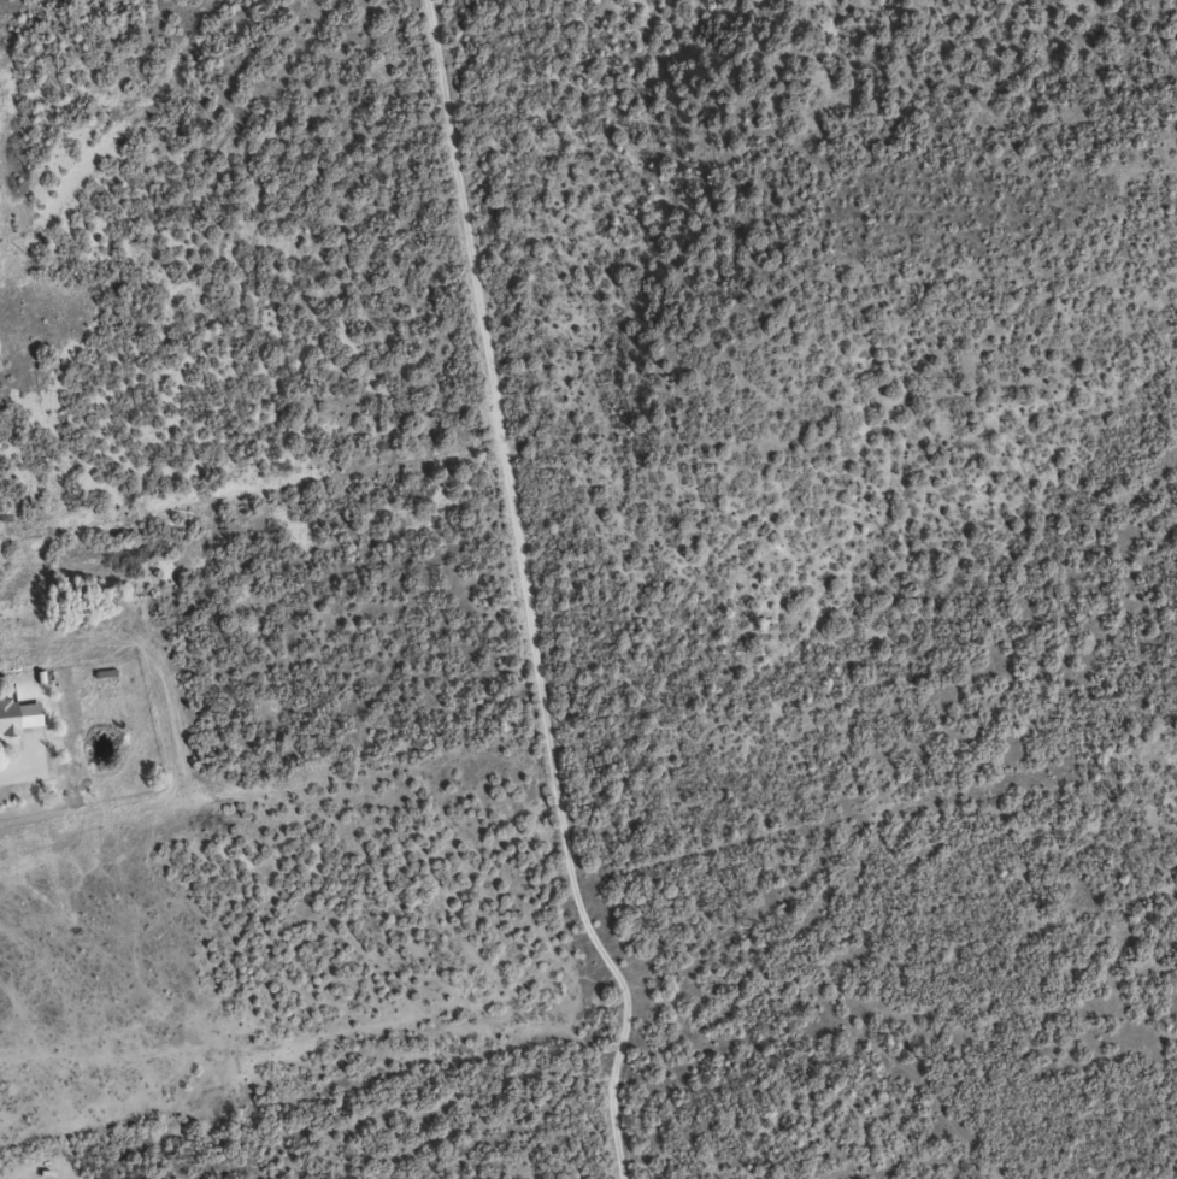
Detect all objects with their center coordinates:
building: (17, 717)
road: (16, 772)

